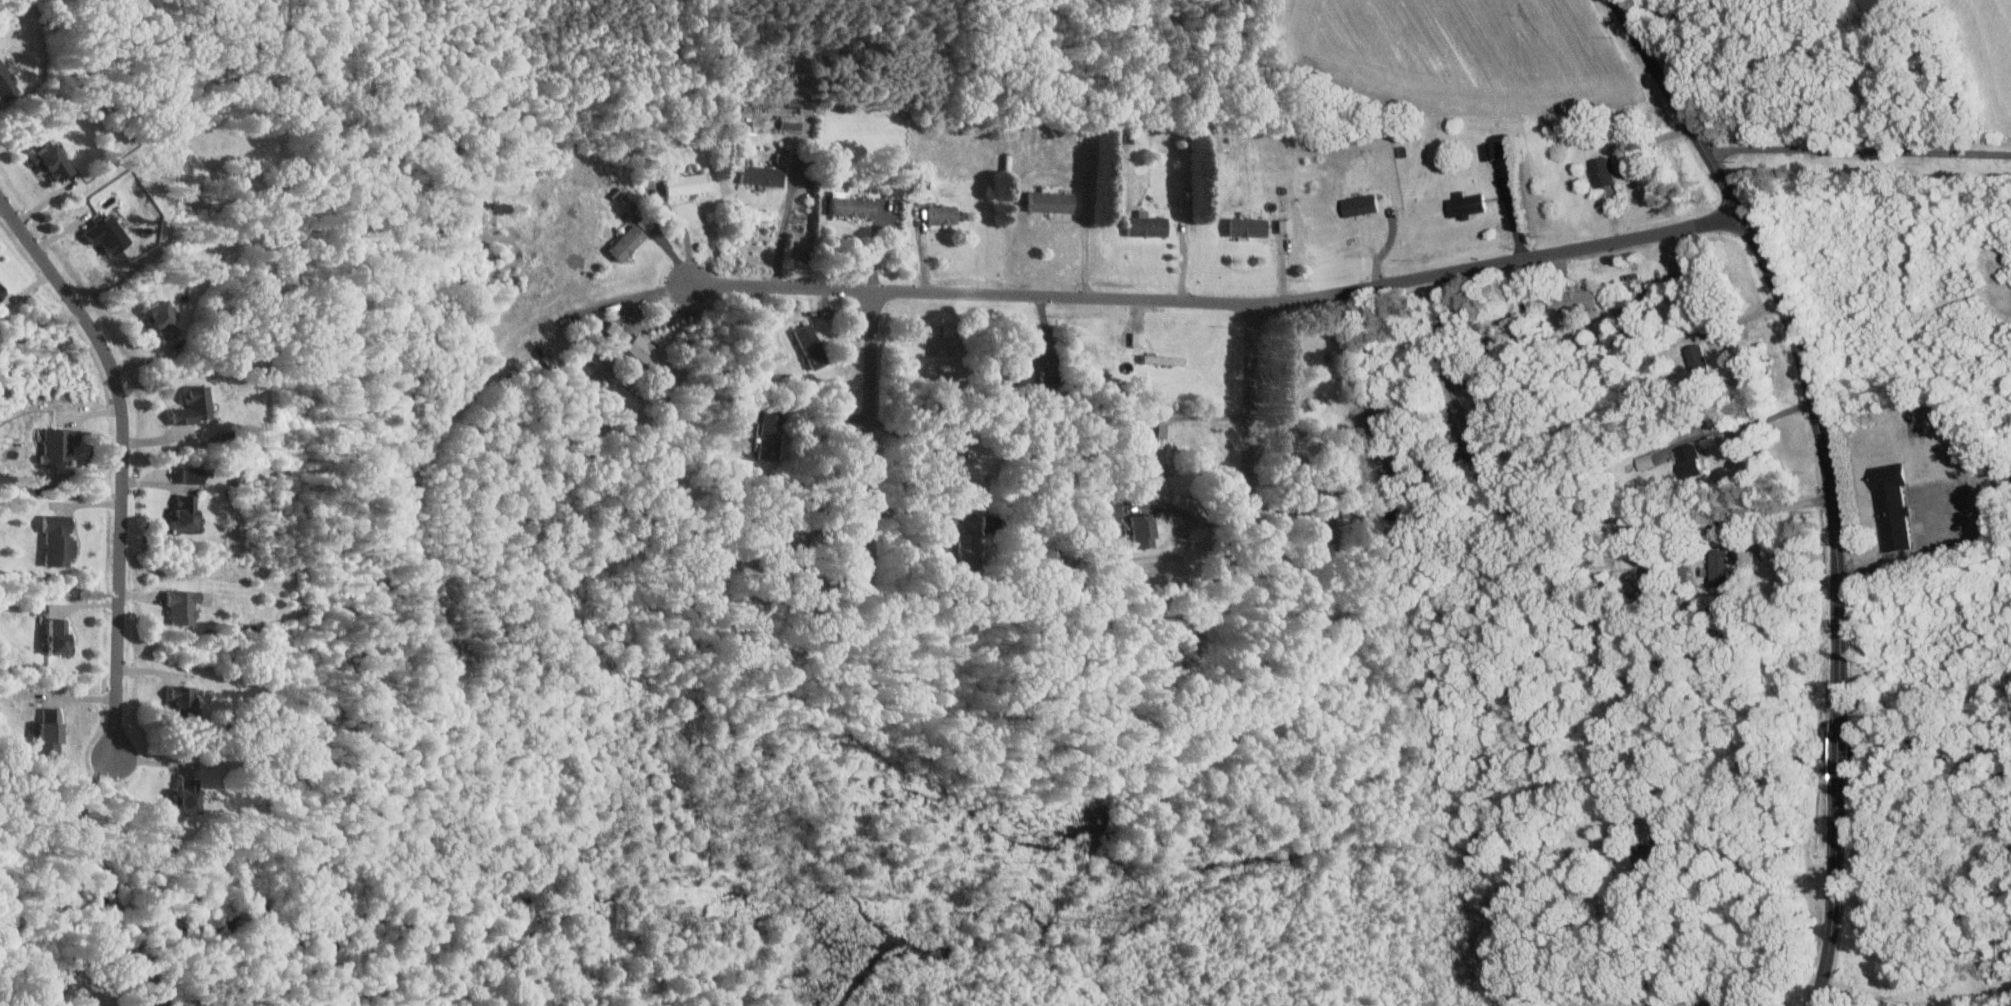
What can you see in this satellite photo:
building: (6, 82)
building: (791, 121)
road: (1856, 144)
building: (1488, 149)
building: (784, 159)
building: (54, 161)
building: (1599, 171)
building: (764, 175)
building: (688, 184)
road: (0, 200)
building: (1054, 201)
building: (1461, 204)
building: (1364, 205)
building: (855, 206)
building: (944, 214)
building: (1150, 224)
building: (1250, 226)
road: (784, 232)
building: (109, 233)
building: (632, 234)
road: (686, 234)
road: (1085, 241)
road: (1387, 244)
building: (1, 293)
road: (1021, 296)
building: (1567, 300)
building: (165, 318)
building: (951, 329)
building: (618, 332)
building: (1140, 338)
road: (1794, 343)
building: (814, 345)
building: (649, 351)
building: (1692, 358)
building: (1170, 359)
road: (1250, 403)
building: (195, 406)
road: (1745, 424)
road: (870, 433)
building: (773, 435)
building: (61, 445)
building: (1163, 458)
road: (123, 459)
building: (1645, 460)
building: (1686, 460)
building: (187, 498)
building: (1887, 506)
road: (1764, 508)
road: (917, 511)
road: (1195, 517)
building: (1146, 531)
building: (60, 539)
building: (969, 552)
building: (1609, 562)
building: (1717, 566)
road: (1890, 571)
building: (186, 606)
building: (62, 637)
building: (184, 698)
building: (54, 726)
road: (1837, 750)
building: (191, 794)
road: (78, 824)
road: (1833, 889)
road: (113, 902)
road: (75, 963)
road: (70, 983)

